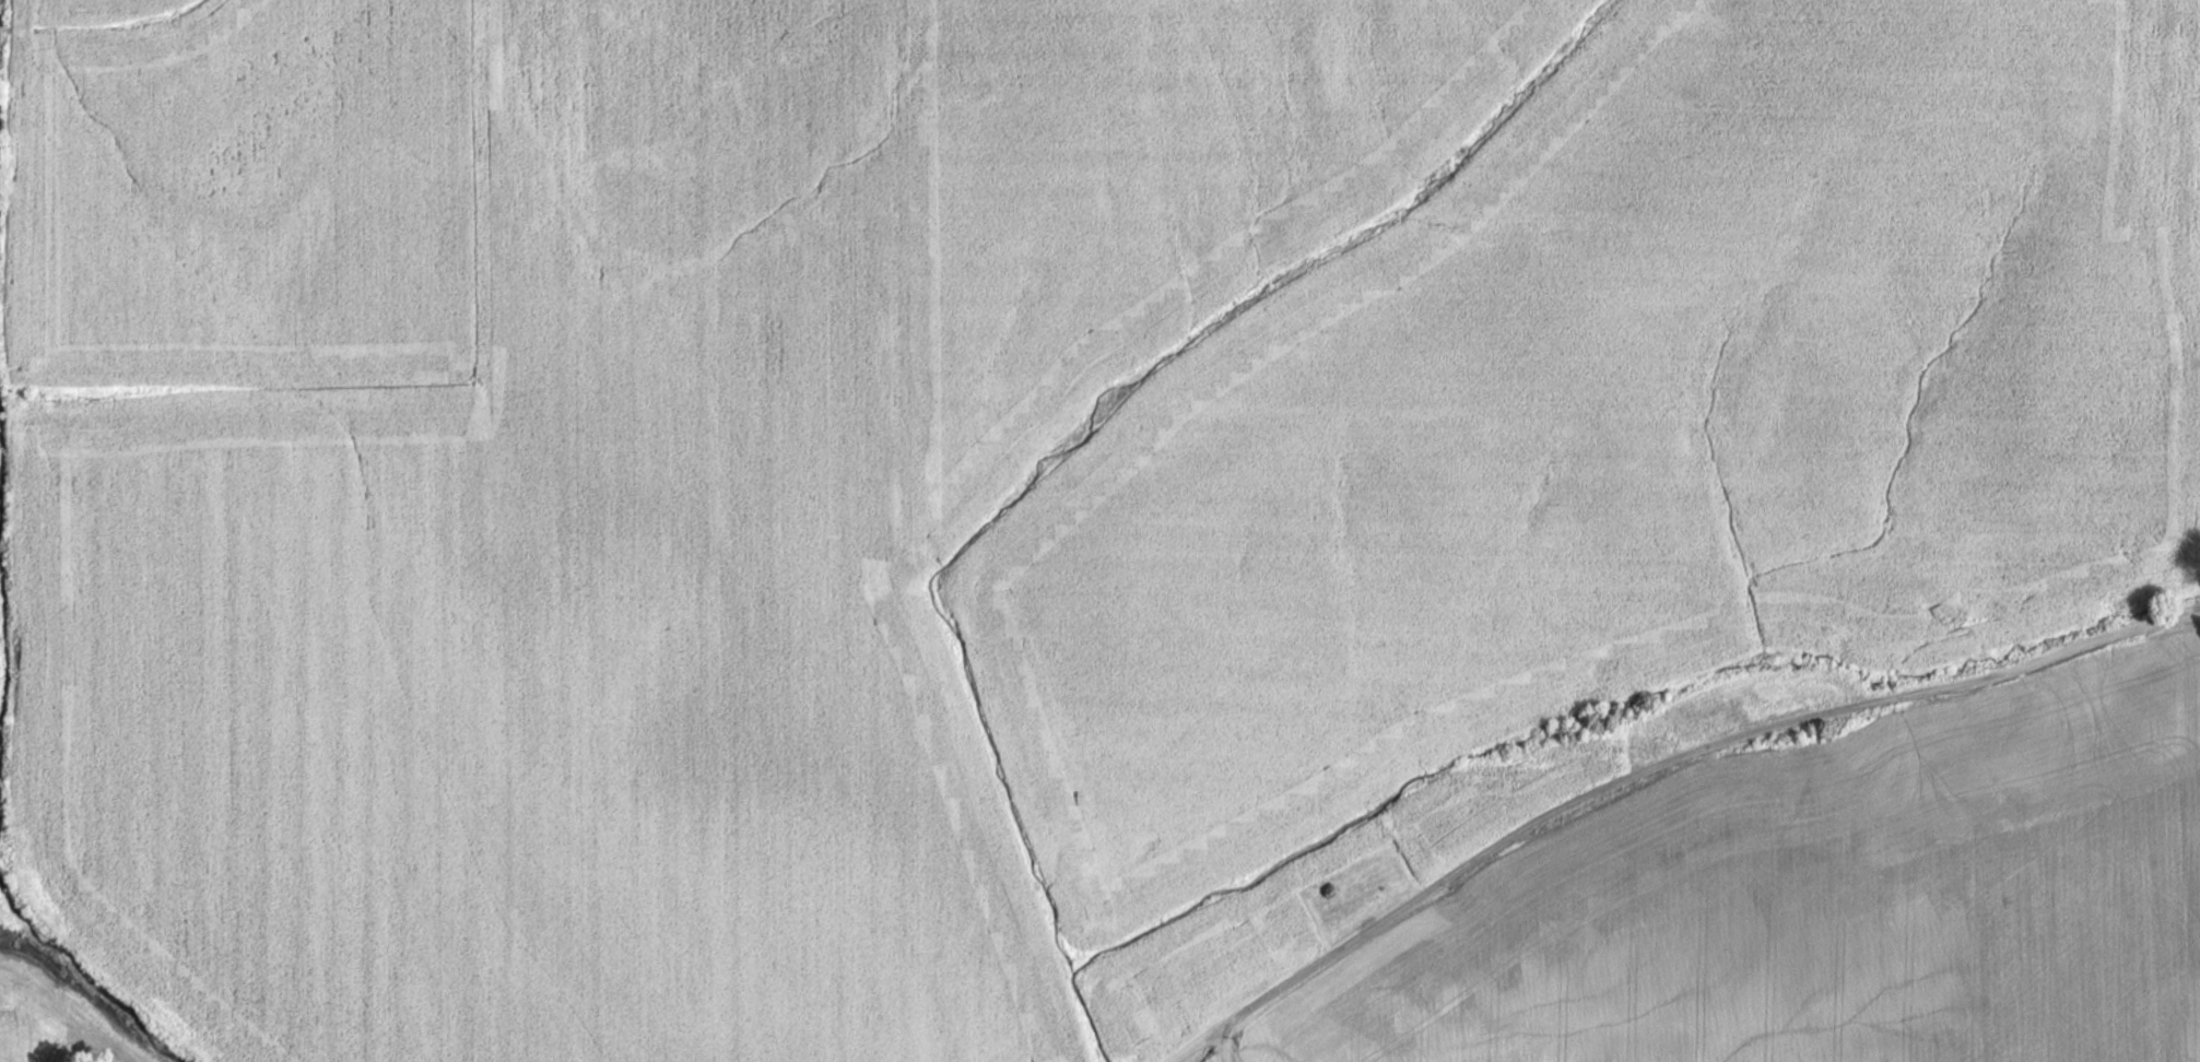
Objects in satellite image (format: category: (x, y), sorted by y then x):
road: (1669, 760)
park: (1360, 894)
road: (1204, 1040)

